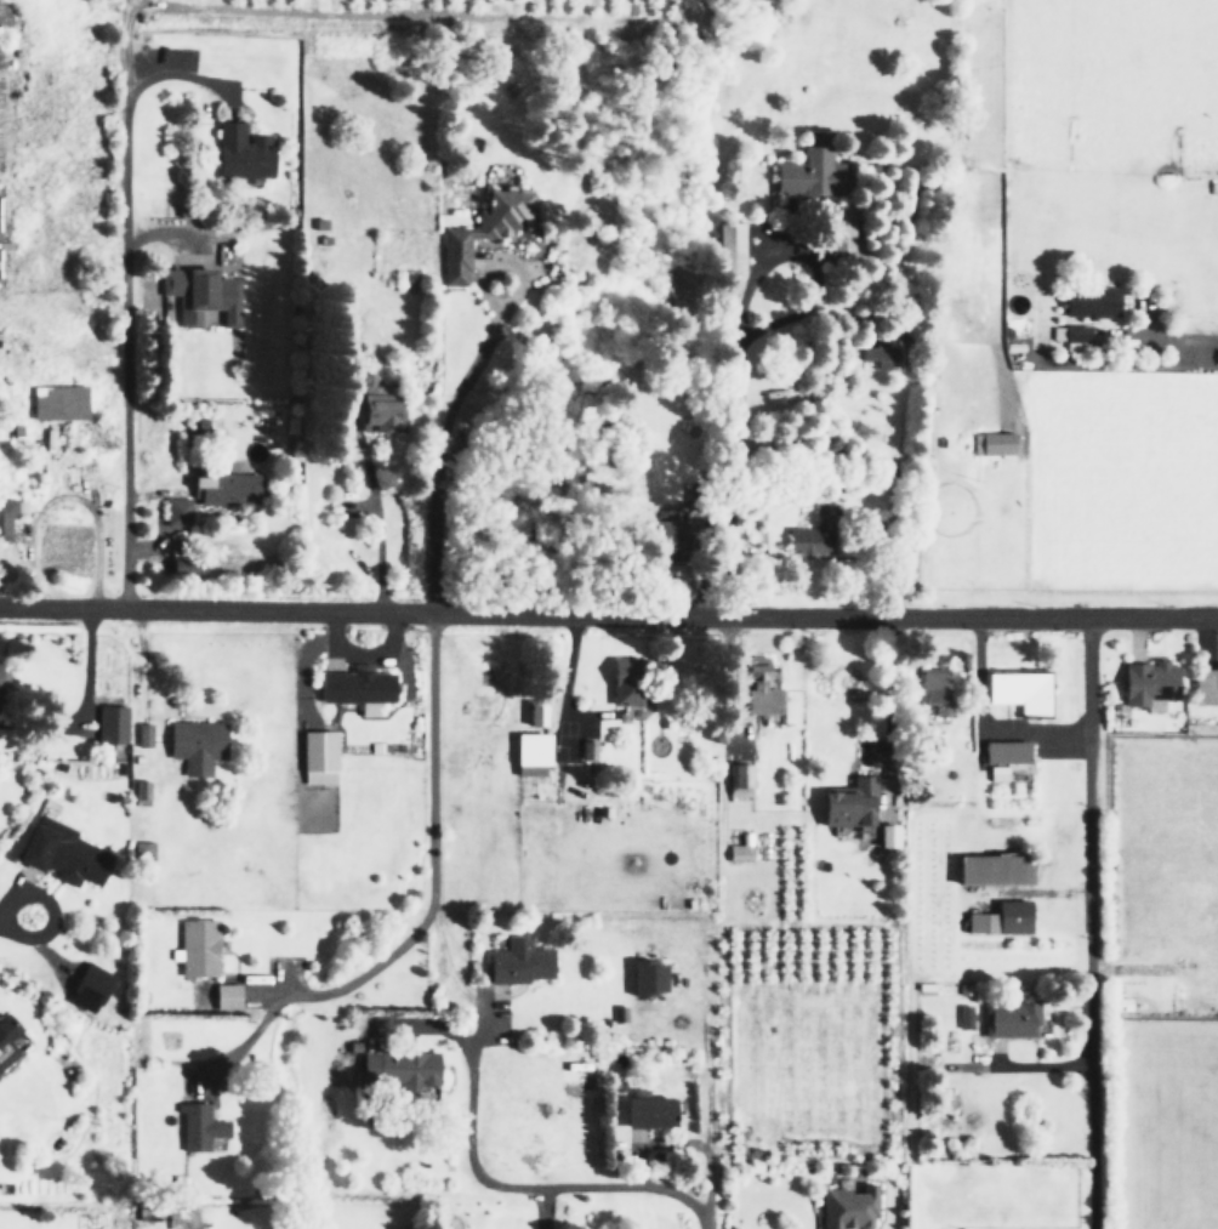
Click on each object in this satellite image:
building: (246, 150)
building: (807, 172)
building: (725, 246)
building: (193, 290)
building: (1095, 301)
building: (1075, 336)
road: (1178, 336)
road: (121, 338)
building: (882, 353)
road: (456, 385)
building: (63, 402)
building: (387, 414)
road: (752, 436)
building: (991, 442)
building: (230, 489)
building: (180, 512)
building: (7, 516)
building: (808, 537)
building: (190, 563)
road: (608, 615)
building: (625, 679)
building: (1148, 682)
building: (1202, 683)
building: (362, 687)
building: (4, 688)
building: (934, 688)
building: (1021, 689)
building: (763, 700)
building: (115, 723)
building: (147, 734)
building: (531, 740)
building: (199, 744)
building: (588, 750)
building: (1002, 755)
building: (323, 756)
road: (423, 763)
building: (1001, 772)
building: (735, 779)
building: (143, 787)
building: (847, 804)
building: (893, 835)
building: (736, 847)
building: (146, 849)
building: (67, 853)
building: (995, 869)
road: (47, 915)
building: (1011, 915)
road: (1082, 922)
building: (200, 946)
building: (517, 961)
building: (647, 977)
building: (93, 986)
building: (229, 995)
building: (967, 1015)
building: (1007, 1018)
building: (8, 1040)
building: (403, 1069)
building: (648, 1110)
building: (203, 1125)
road: (519, 1188)
building: (842, 1207)

